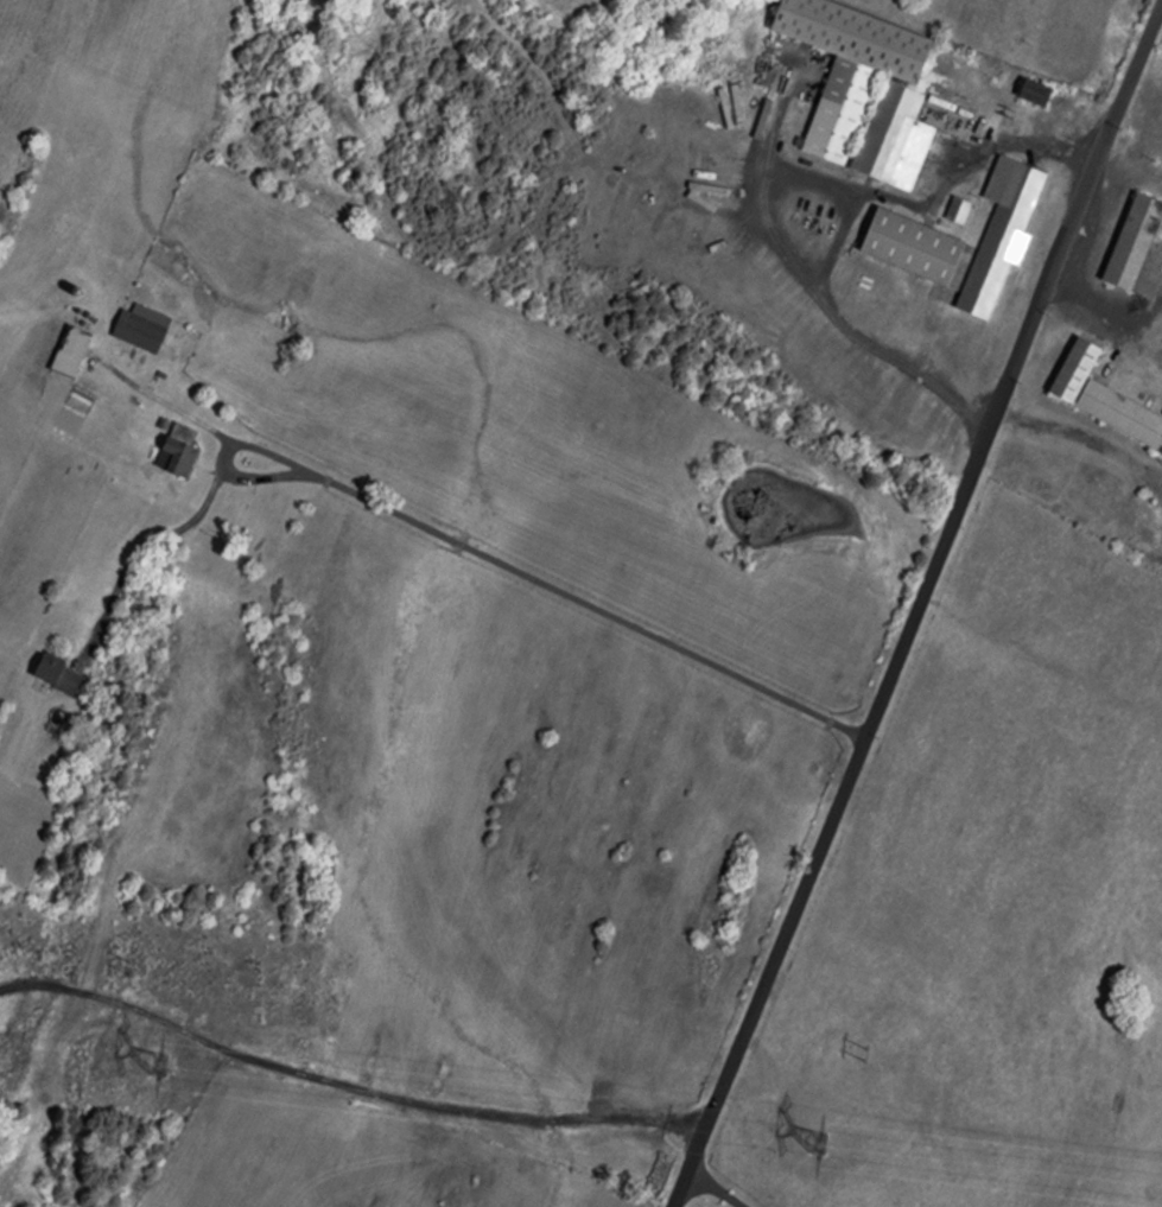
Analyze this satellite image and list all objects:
road: (849, 214)
road: (172, 405)
road: (145, 554)
road: (496, 559)
road: (921, 601)
power tower: (129, 971)
power tower: (872, 1056)
power tower: (161, 1066)
power tower: (823, 1144)
road: (685, 1189)
road: (729, 1195)

